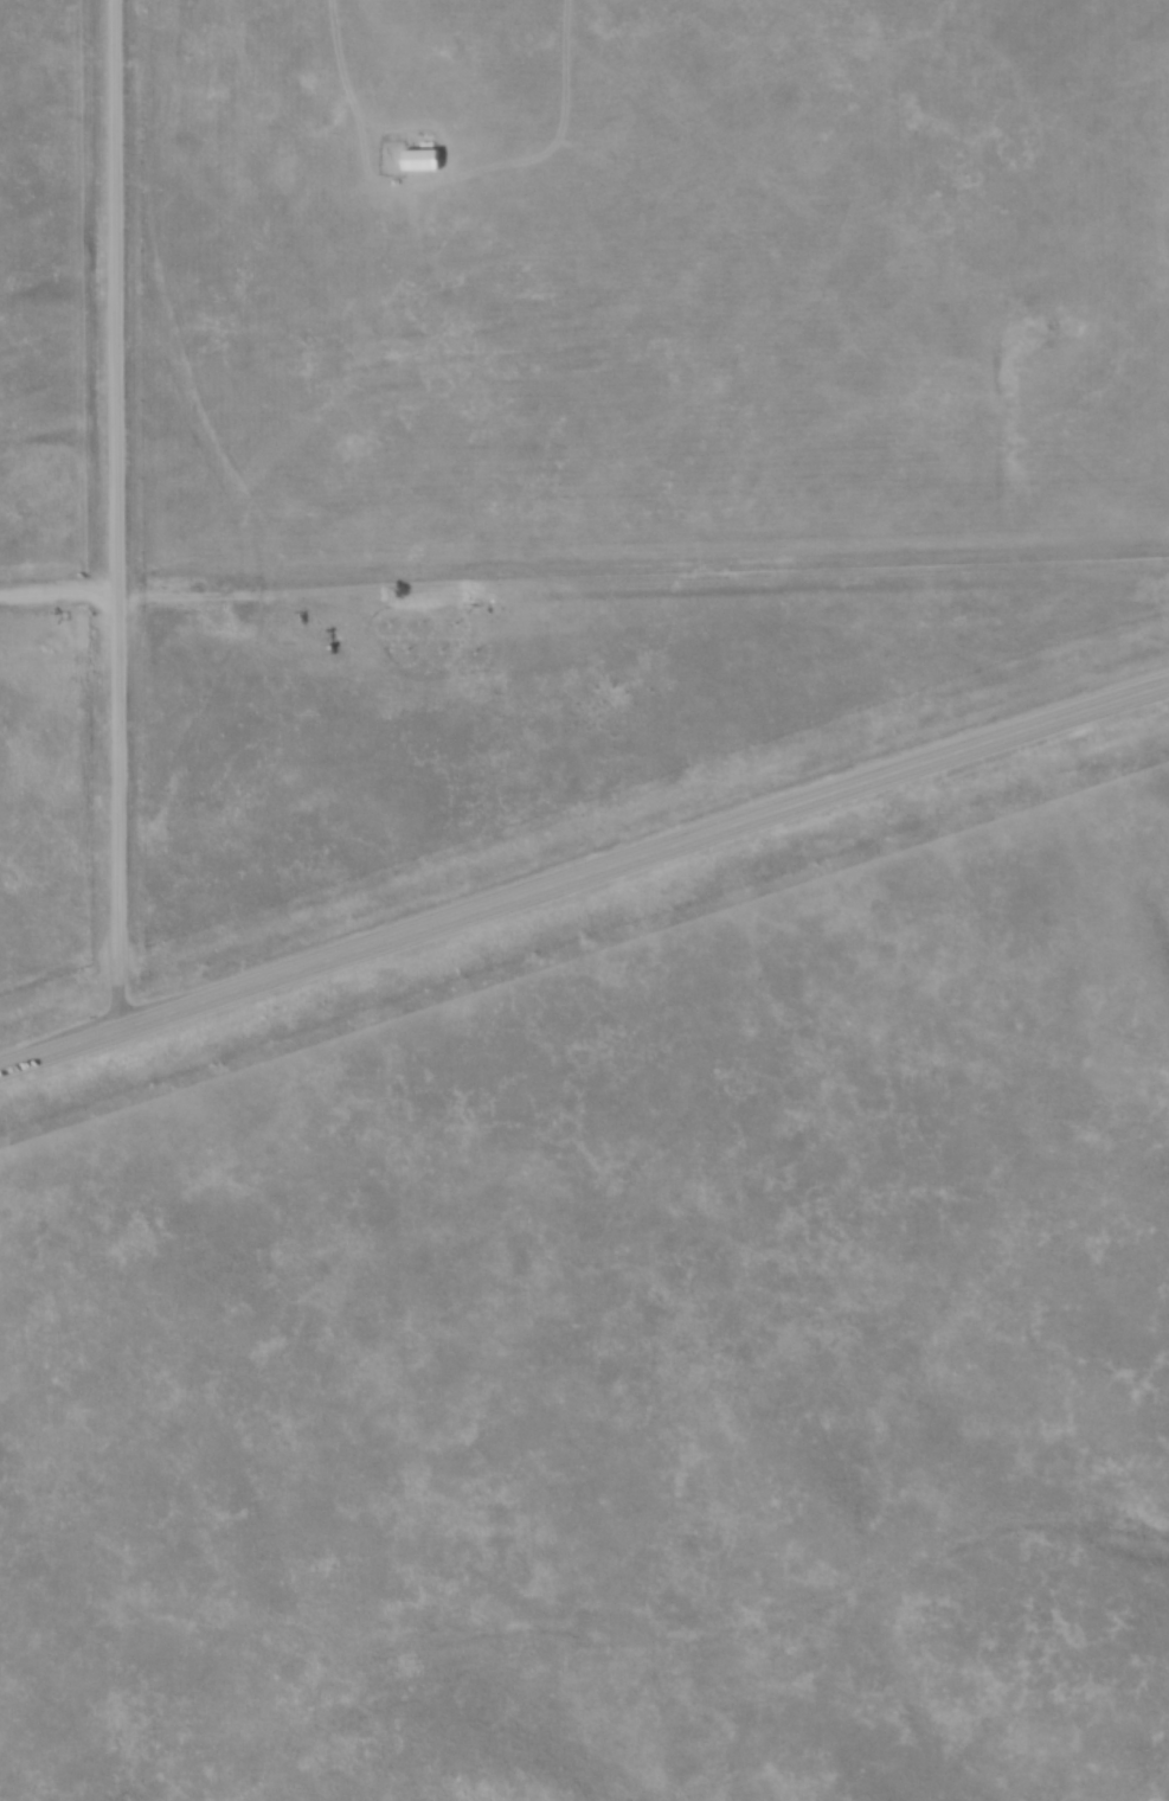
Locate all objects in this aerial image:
road: (113, 519)
road: (58, 600)
road: (583, 880)

